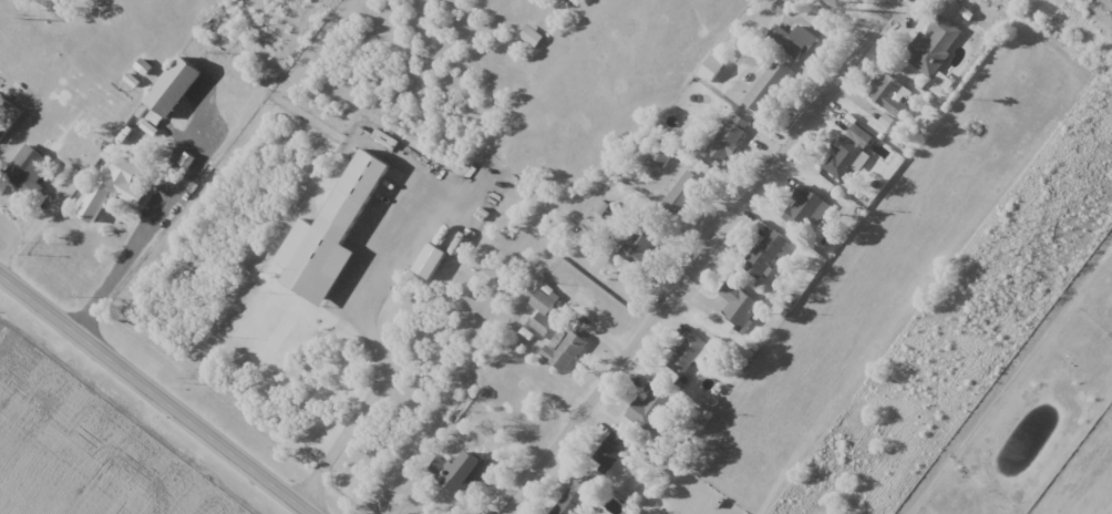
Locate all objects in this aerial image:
building: (59, 2)
building: (836, 3)
building: (531, 35)
building: (793, 40)
building: (933, 44)
building: (766, 88)
building: (176, 89)
building: (888, 94)
building: (728, 138)
building: (848, 153)
building: (659, 156)
building: (33, 166)
building: (111, 189)
building: (683, 193)
building: (802, 207)
road: (32, 224)
building: (333, 236)
building: (637, 245)
building: (765, 253)
road: (123, 257)
road: (699, 259)
building: (434, 265)
building: (548, 304)
building: (735, 307)
building: (545, 327)
building: (569, 351)
building: (687, 353)
road: (372, 380)
road: (156, 392)
building: (649, 409)
crop: (83, 449)
building: (610, 450)
building: (466, 474)
crop: (1087, 481)
building: (575, 496)

